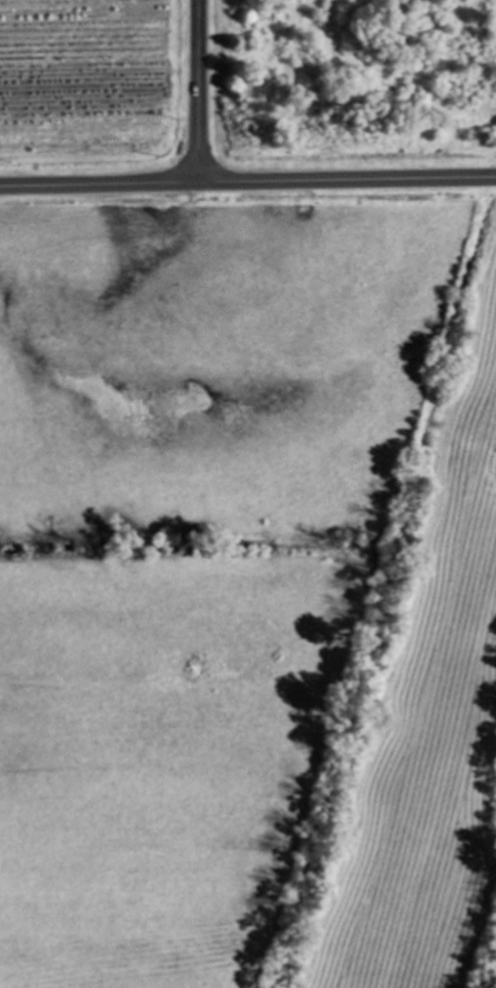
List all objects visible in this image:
road: (201, 92)
road: (247, 183)

